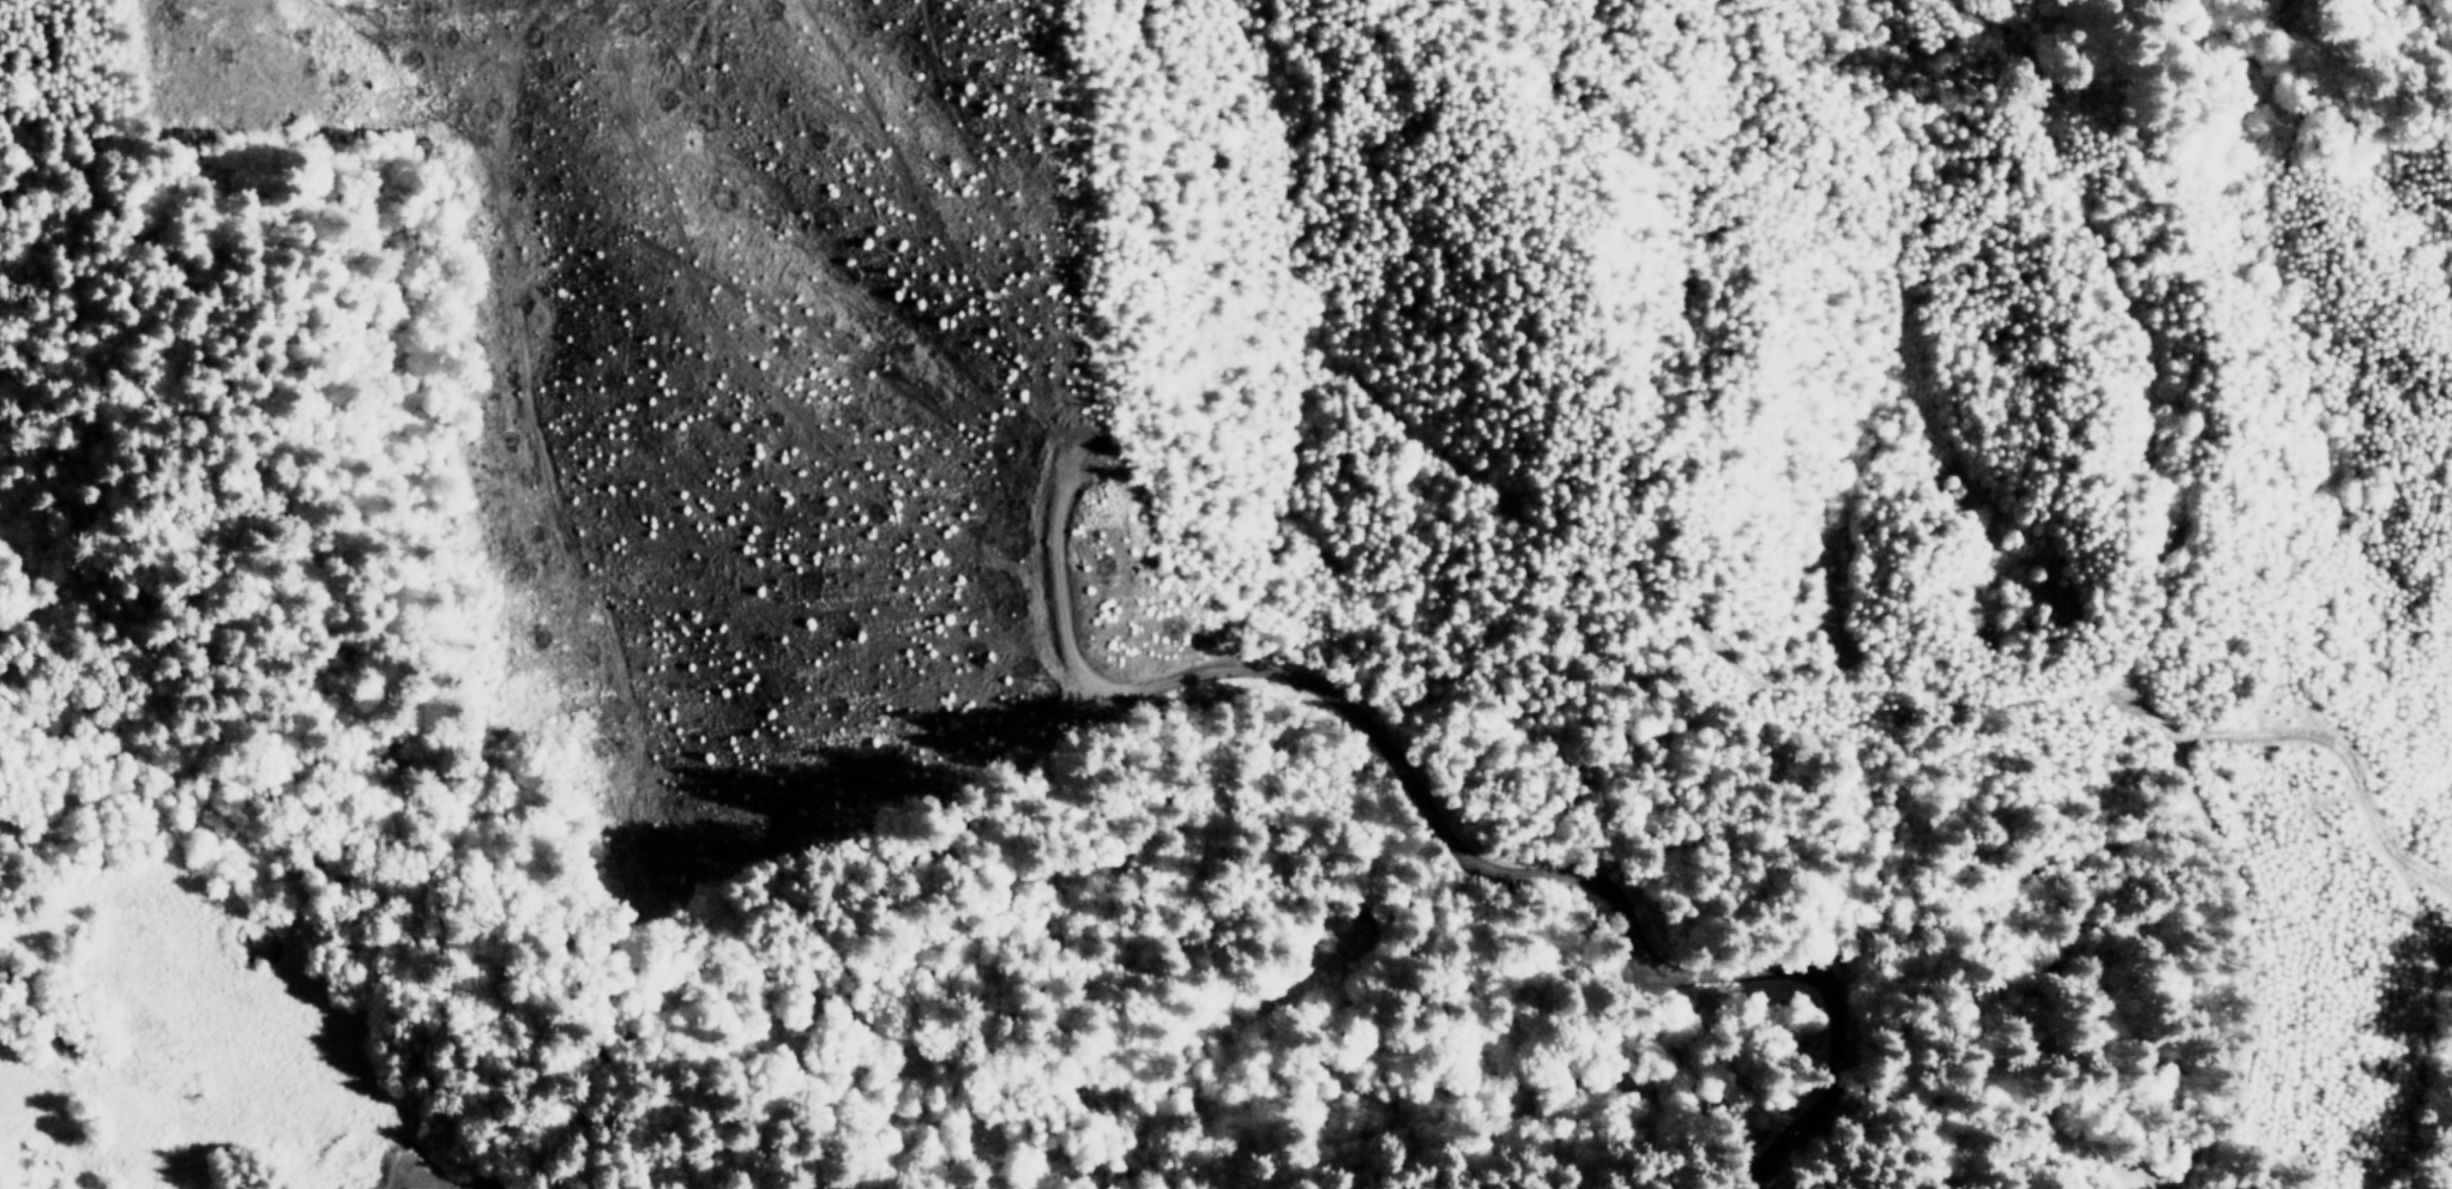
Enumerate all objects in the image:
road: (2282, 933)
road: (432, 1181)

